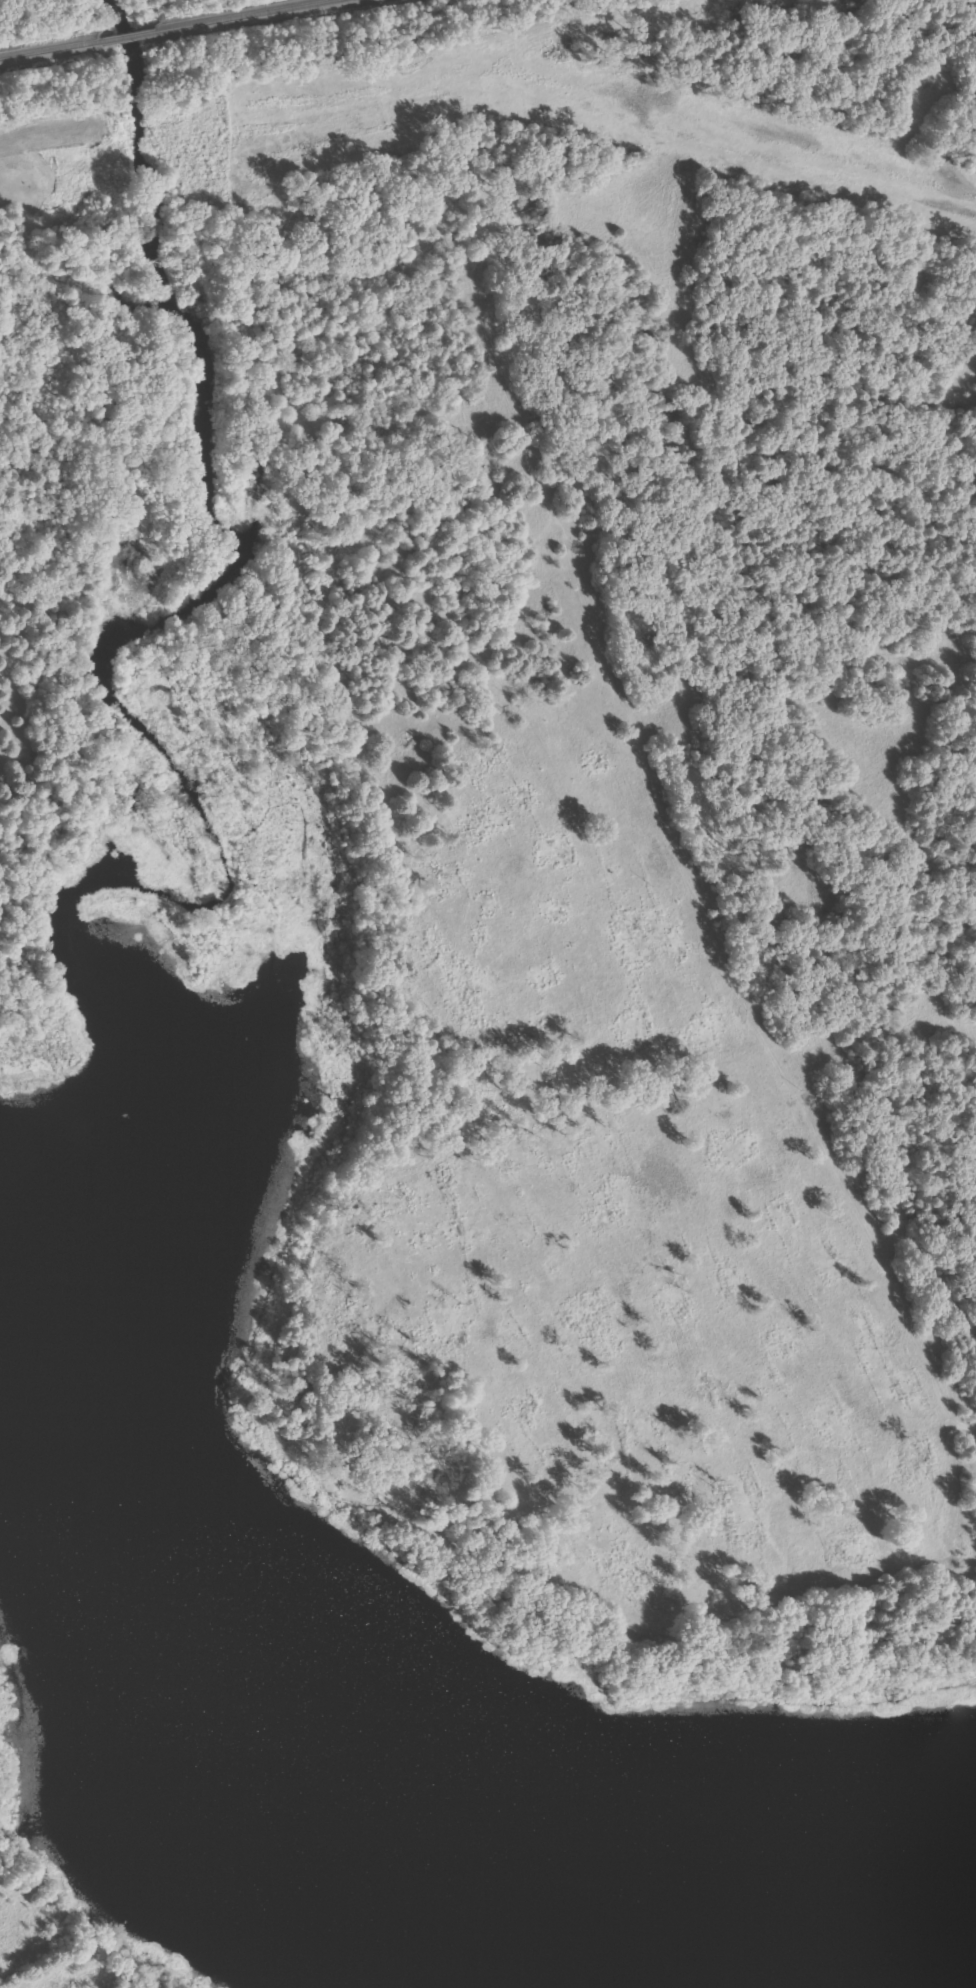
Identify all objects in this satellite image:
railway: (140, 24)

